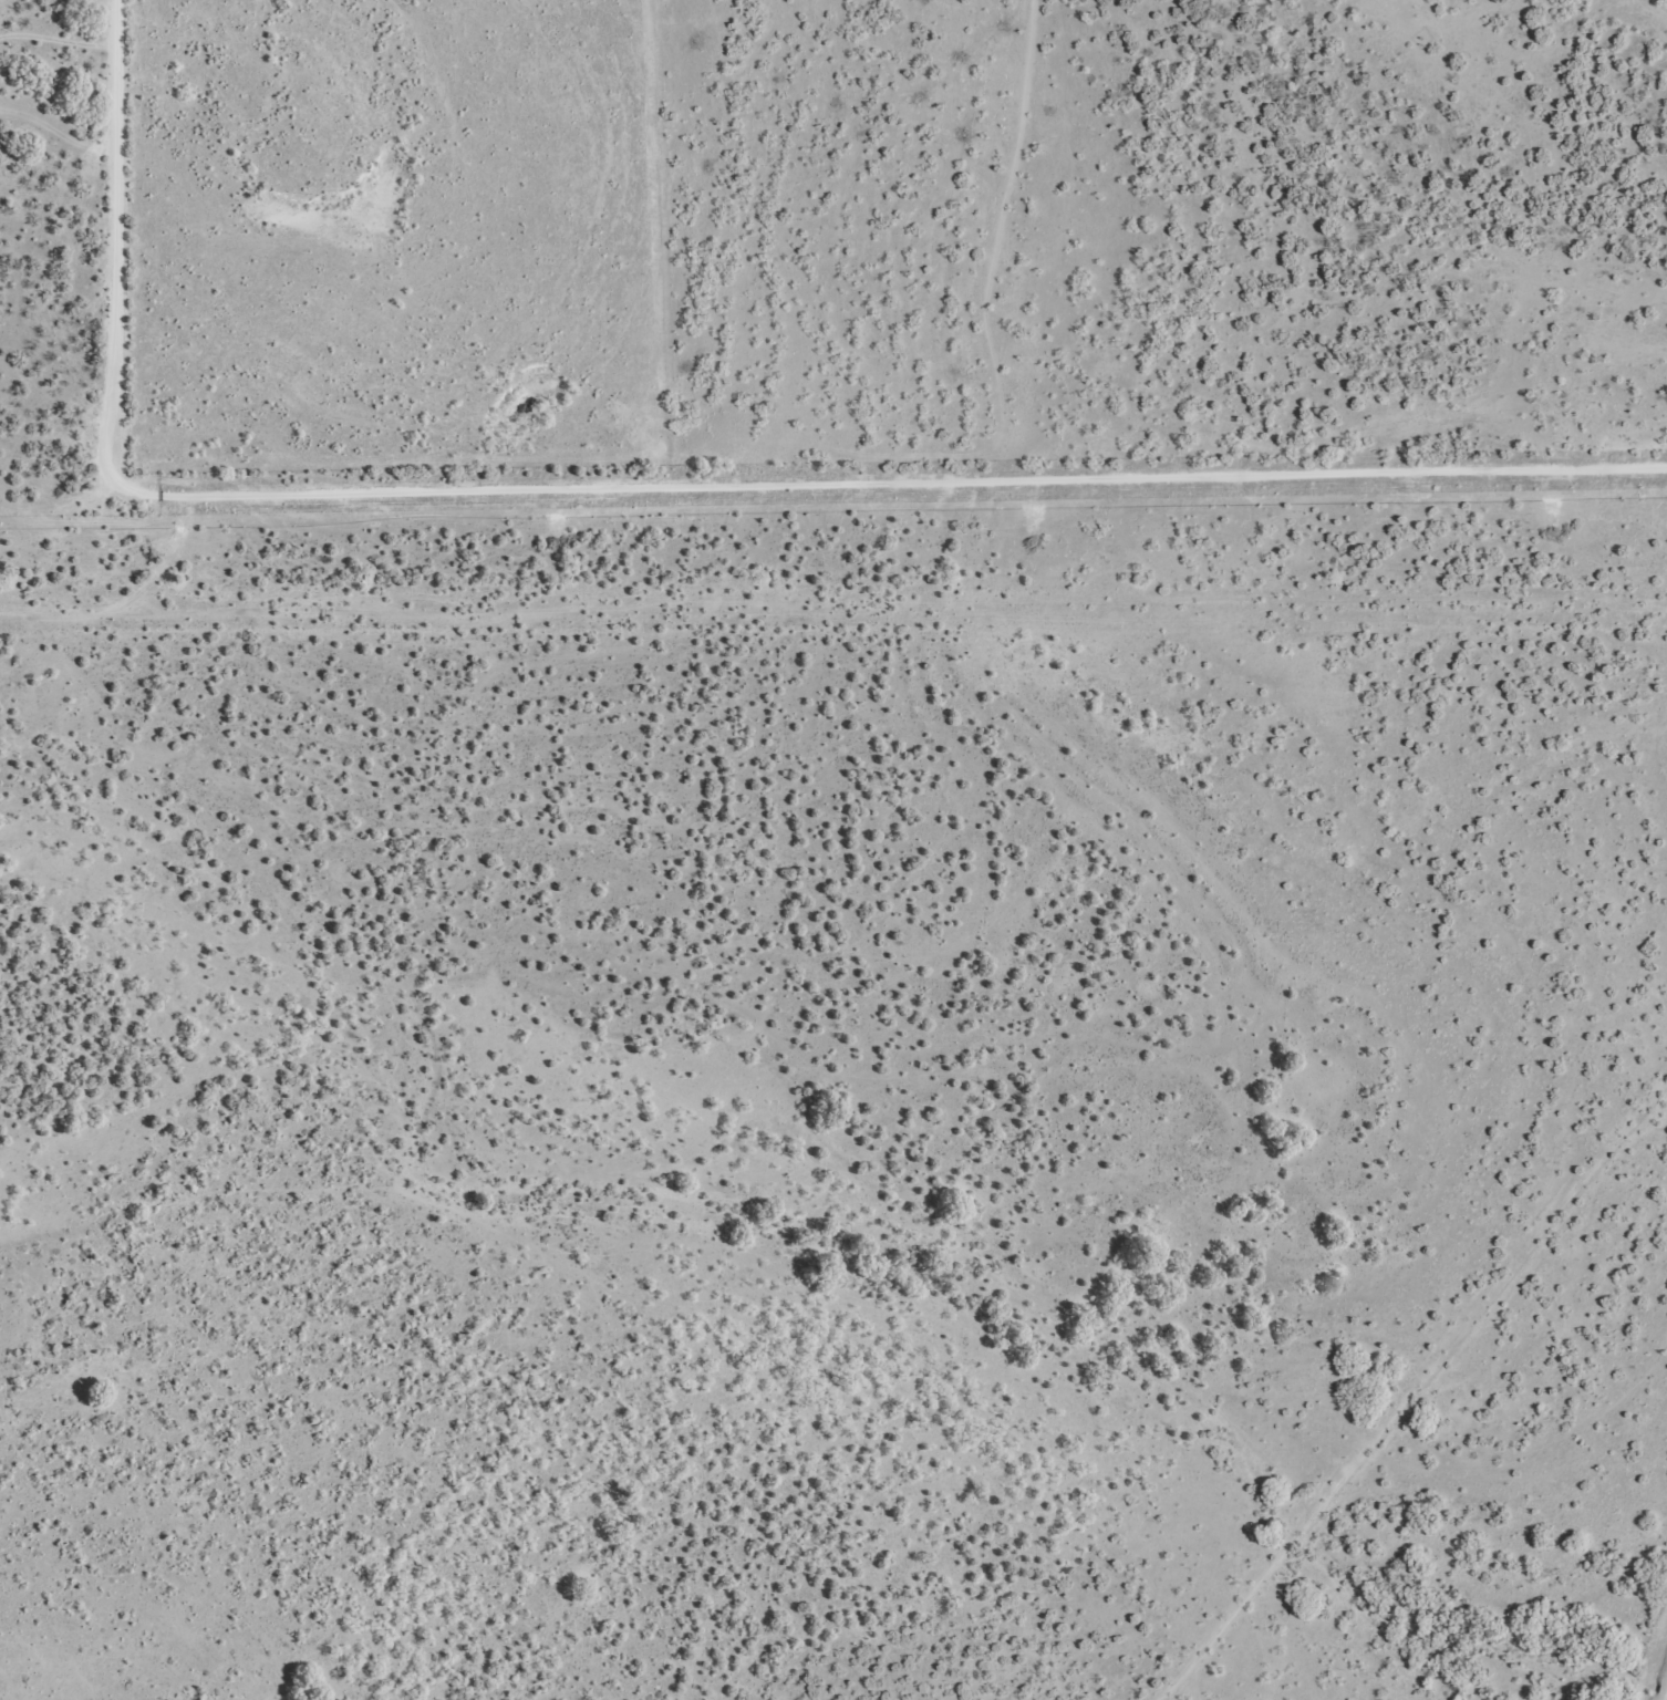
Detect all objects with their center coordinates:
road: (658, 476)
road: (115, 562)
road: (1404, 1350)

